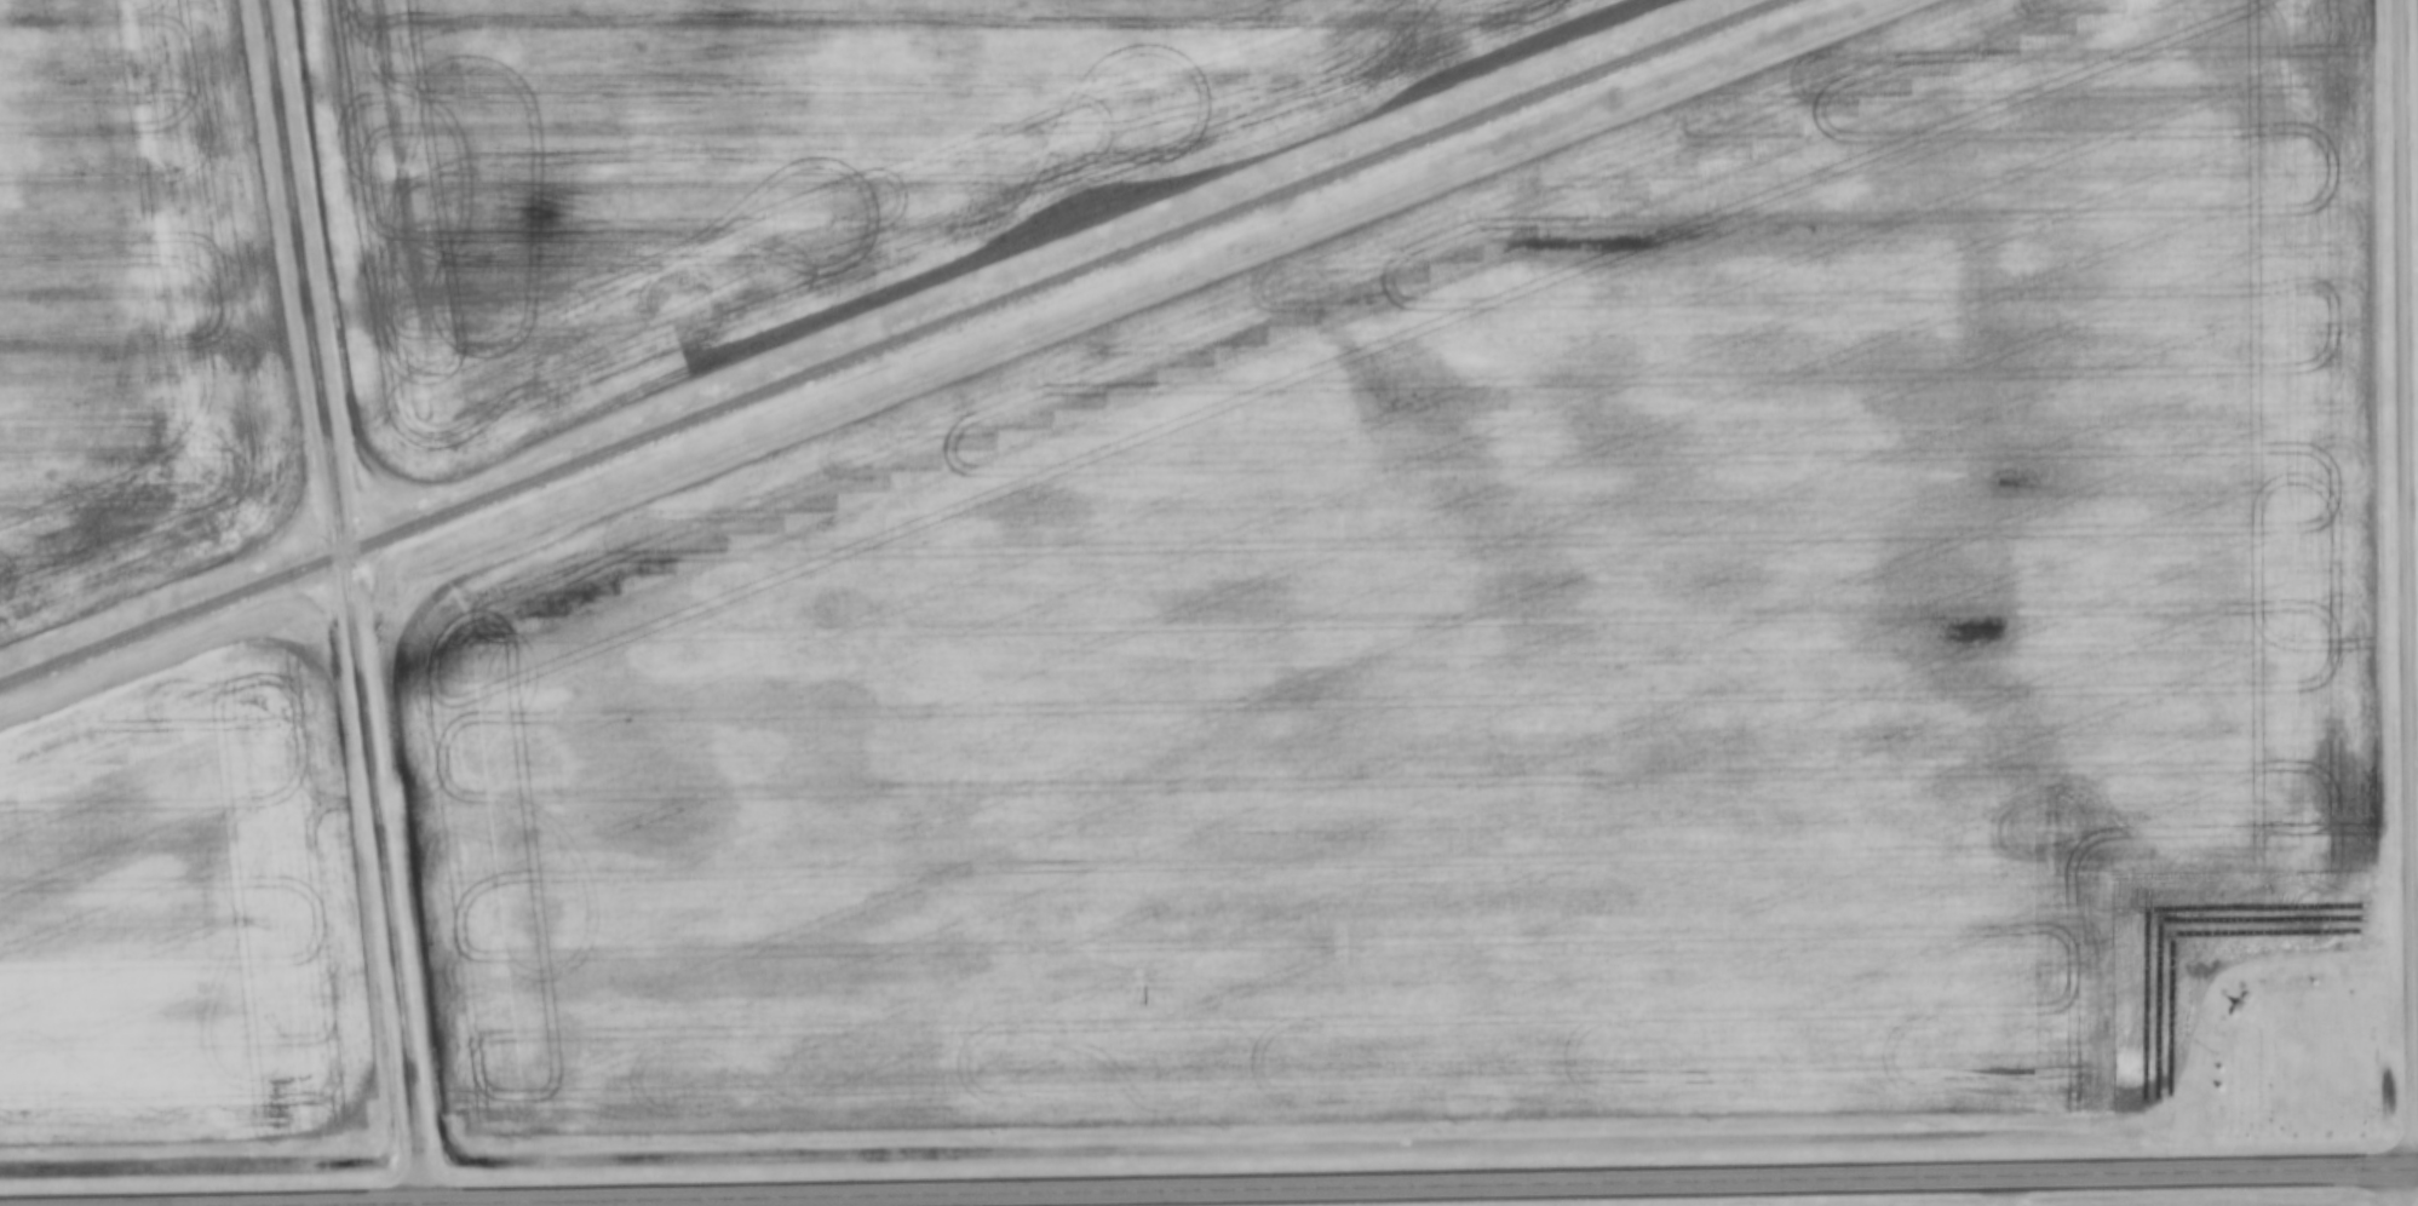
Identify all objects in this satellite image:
railway: (894, 343)
road: (2408, 584)
road: (346, 601)
road: (1380, 1185)
road: (2416, 1188)

